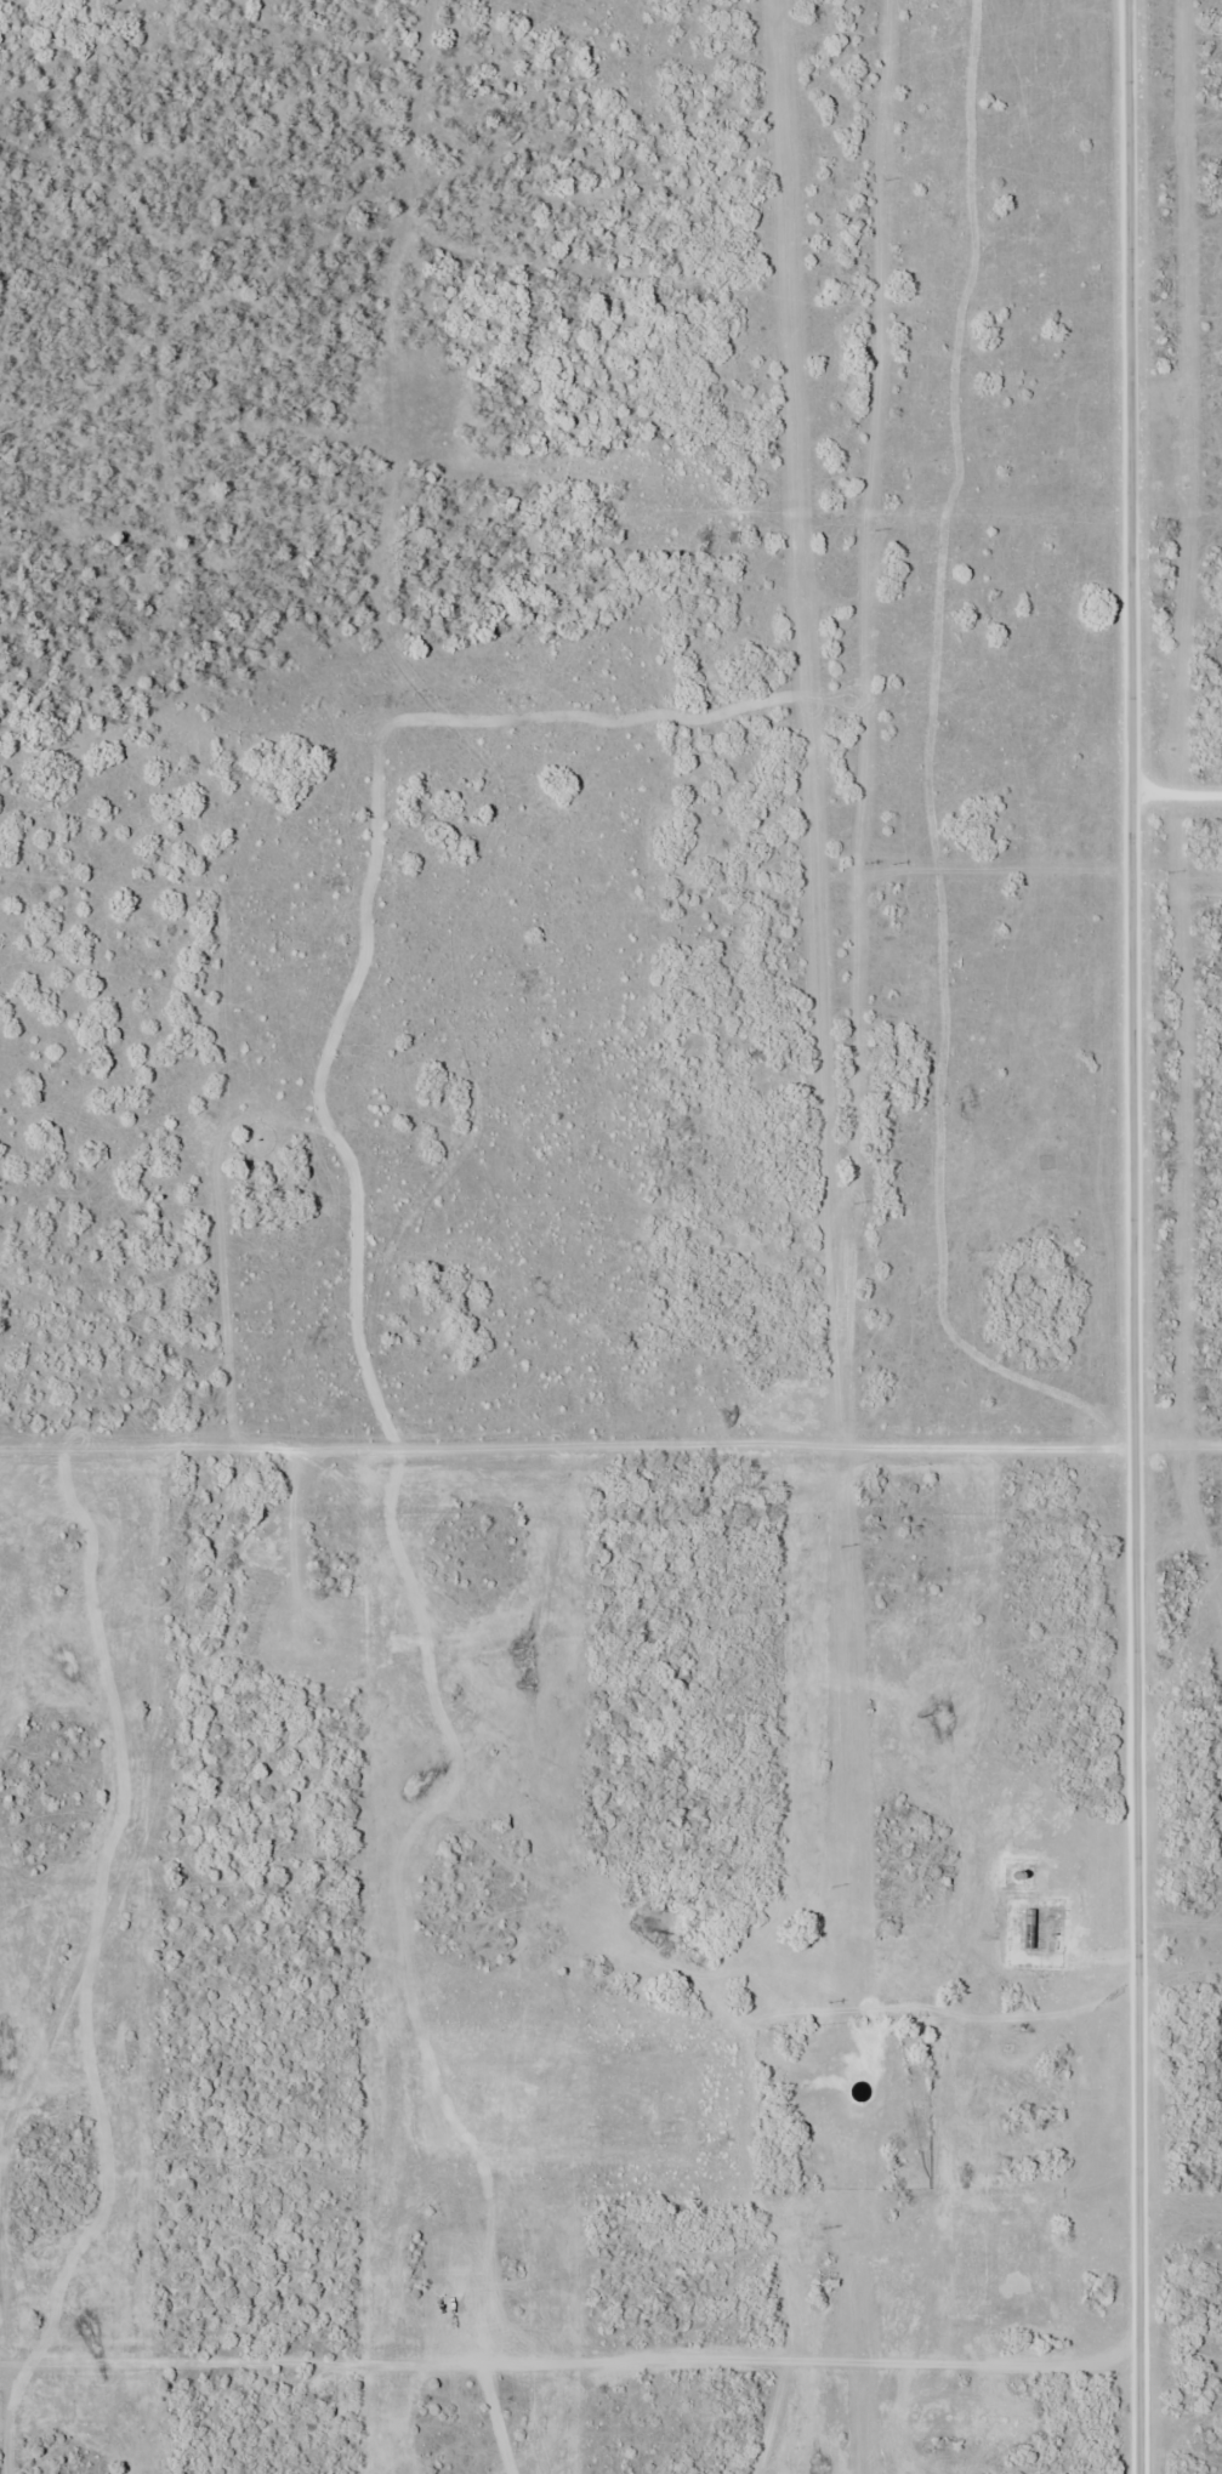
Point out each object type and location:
road: (1190, 796)
road: (1153, 1236)

